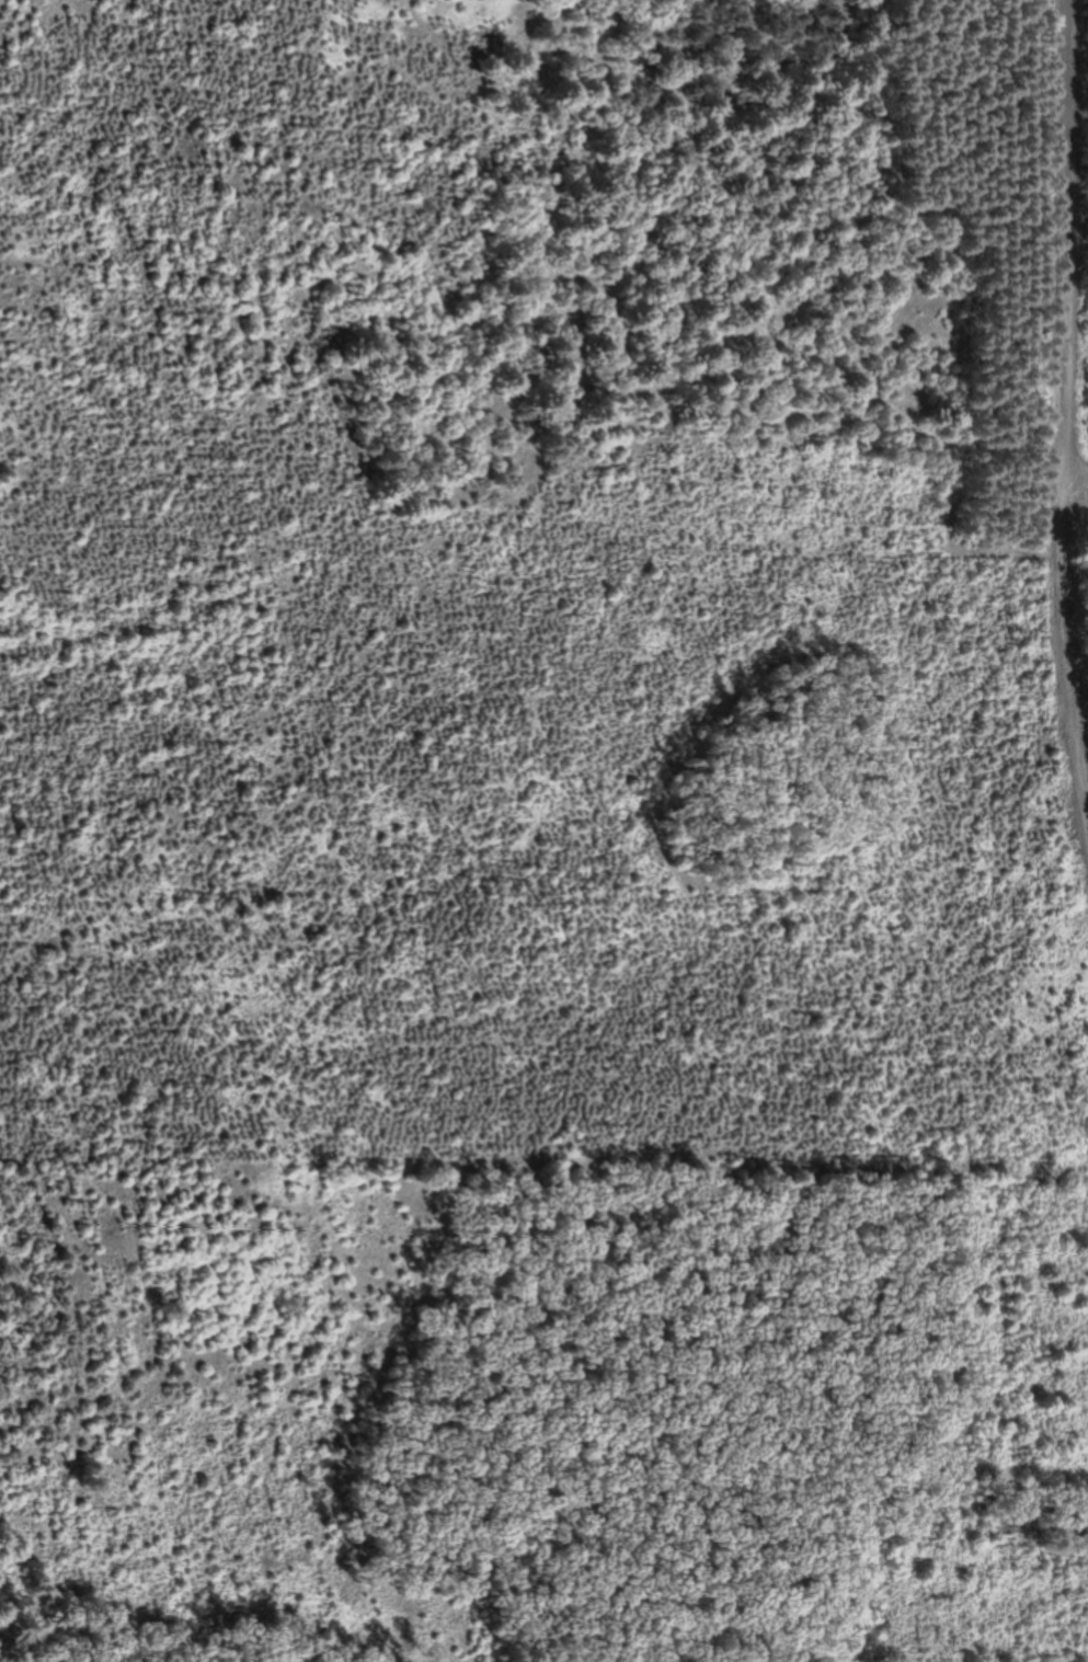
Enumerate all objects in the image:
road: (1062, 393)
road: (1074, 489)

